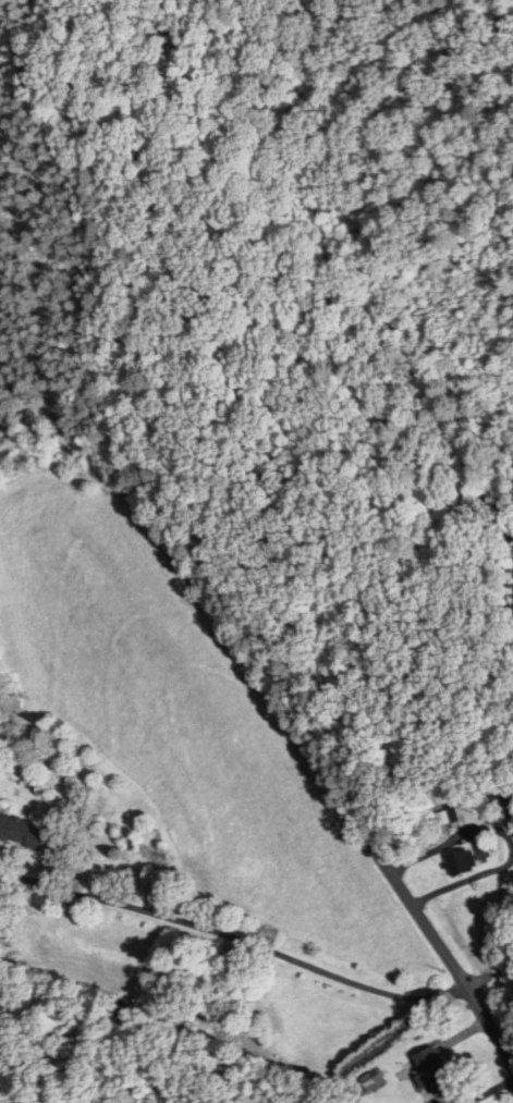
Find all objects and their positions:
road: (172, 563)
building: (24, 831)
building: (468, 858)
road: (419, 915)
road: (255, 949)
building: (121, 1021)
building: (431, 1071)
building: (370, 1080)

